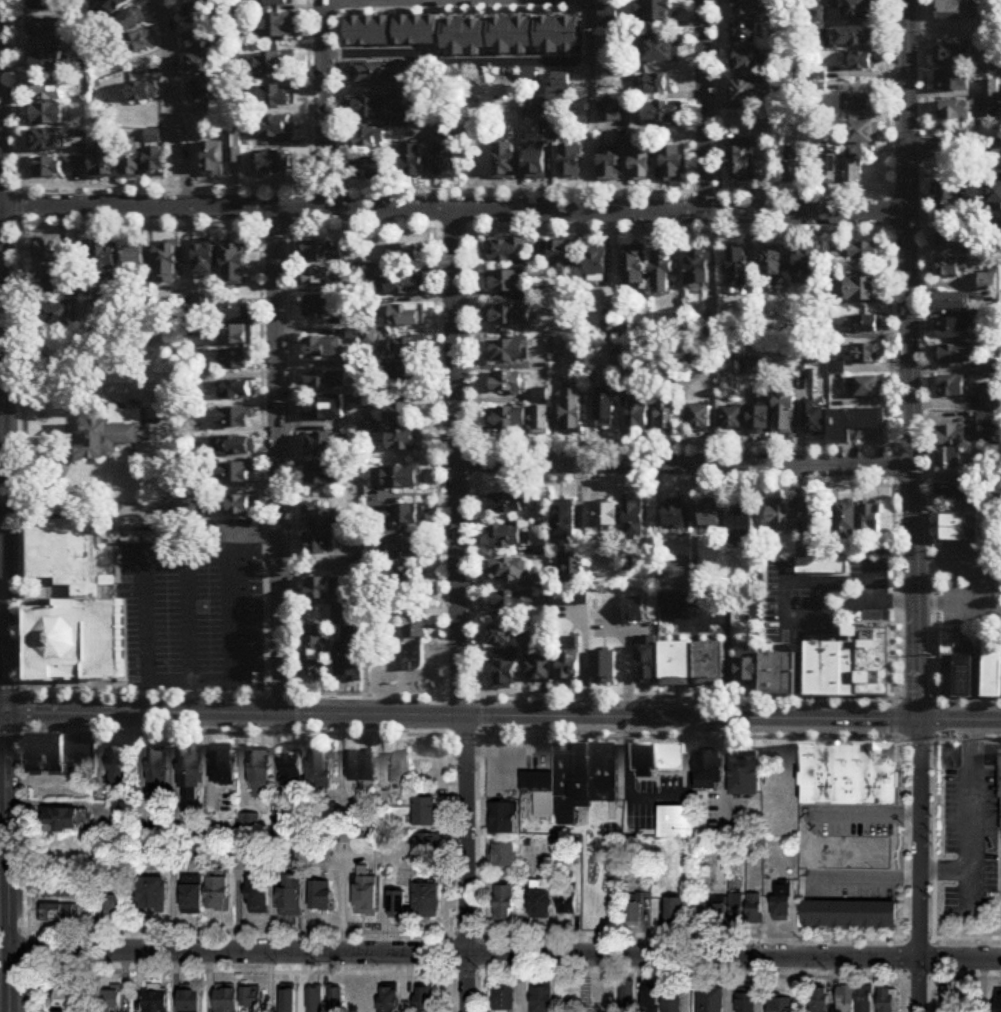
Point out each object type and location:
building: (276, 3)
building: (46, 5)
building: (116, 5)
building: (747, 7)
building: (859, 9)
building: (949, 9)
building: (657, 10)
building: (198, 14)
building: (236, 16)
building: (131, 21)
building: (280, 26)
building: (417, 30)
building: (368, 31)
building: (48, 33)
building: (744, 33)
building: (510, 36)
building: (557, 36)
building: (464, 37)
building: (855, 37)
building: (201, 40)
building: (139, 44)
building: (658, 50)
building: (611, 56)
building: (951, 56)
building: (47, 62)
building: (745, 62)
building: (862, 62)
road: (455, 64)
building: (200, 65)
building: (277, 67)
building: (377, 74)
building: (952, 82)
building: (656, 85)
building: (991, 90)
building: (47, 91)
building: (203, 92)
building: (142, 93)
building: (750, 93)
building: (272, 98)
road: (325, 104)
road: (175, 105)
building: (859, 105)
road: (589, 107)
road: (703, 107)
building: (369, 110)
building: (611, 112)
building: (953, 112)
building: (662, 113)
building: (47, 115)
building: (276, 128)
building: (833, 128)
building: (370, 139)
building: (47, 141)
building: (235, 147)
building: (858, 147)
road: (310, 149)
road: (955, 150)
building: (214, 160)
building: (102, 161)
building: (446, 161)
building: (132, 162)
building: (156, 162)
building: (413, 162)
building: (505, 162)
building: (535, 162)
building: (571, 162)
building: (610, 162)
building: (640, 163)
building: (274, 164)
building: (673, 165)
building: (740, 165)
building: (793, 166)
building: (47, 168)
building: (371, 170)
building: (826, 171)
road: (19, 172)
road: (189, 187)
building: (971, 195)
building: (944, 197)
building: (995, 198)
road: (454, 212)
road: (258, 227)
road: (275, 228)
road: (455, 230)
road: (435, 231)
road: (889, 233)
building: (950, 239)
building: (52, 249)
building: (507, 250)
building: (322, 252)
building: (863, 252)
building: (562, 254)
building: (404, 255)
building: (106, 258)
building: (136, 259)
building: (205, 261)
building: (538, 261)
building: (833, 262)
building: (168, 263)
building: (597, 263)
building: (773, 263)
building: (234, 264)
building: (635, 266)
building: (806, 267)
building: (739, 268)
building: (953, 268)
building: (699, 269)
building: (663, 275)
building: (320, 277)
building: (55, 282)
building: (989, 283)
building: (509, 284)
building: (401, 285)
building: (862, 290)
building: (952, 303)
building: (319, 309)
building: (237, 312)
building: (56, 315)
building: (510, 315)
building: (406, 316)
building: (867, 325)
building: (955, 330)
building: (802, 332)
building: (237, 336)
building: (558, 346)
building: (323, 348)
building: (409, 349)
building: (507, 351)
building: (862, 355)
building: (955, 356)
road: (912, 360)
building: (235, 361)
building: (752, 366)
building: (404, 373)
building: (325, 381)
building: (509, 383)
building: (952, 387)
building: (867, 388)
building: (235, 390)
road: (930, 395)
building: (989, 397)
building: (606, 408)
building: (324, 409)
building: (542, 412)
building: (572, 412)
building: (398, 413)
building: (640, 415)
building: (667, 416)
building: (785, 417)
building: (235, 418)
building: (701, 418)
building: (813, 419)
building: (508, 420)
building: (733, 420)
building: (760, 420)
building: (988, 420)
road: (71, 423)
building: (854, 424)
building: (372, 427)
building: (113, 434)
building: (951, 436)
building: (406, 440)
building: (324, 445)
building: (234, 447)
road: (281, 462)
road: (479, 462)
building: (950, 463)
road: (459, 465)
road: (687, 465)
road: (895, 465)
road: (180, 469)
building: (989, 470)
building: (235, 474)
building: (397, 478)
building: (323, 479)
road: (893, 487)
building: (954, 492)
building: (511, 506)
building: (240, 507)
building: (324, 516)
building: (398, 516)
building: (608, 516)
building: (711, 516)
building: (675, 518)
building: (813, 518)
building: (778, 519)
building: (870, 519)
building: (635, 521)
building: (846, 522)
building: (565, 523)
building: (743, 523)
building: (962, 528)
building: (508, 538)
building: (322, 544)
building: (406, 548)
building: (545, 556)
building: (575, 571)
building: (512, 572)
building: (821, 576)
road: (990, 577)
building: (406, 579)
building: (111, 581)
building: (543, 583)
parking lot: (970, 586)
building: (325, 590)
road: (146, 591)
building: (514, 601)
road: (849, 607)
building: (71, 609)
road: (5, 611)
building: (339, 615)
building: (634, 617)
building: (416, 628)
road: (239, 629)
building: (526, 635)
building: (501, 636)
building: (317, 653)
building: (413, 658)
building: (352, 659)
building: (571, 661)
building: (647, 661)
building: (875, 662)
building: (710, 663)
building: (676, 666)
building: (604, 669)
building: (832, 669)
building: (539, 670)
building: (748, 670)
building: (507, 671)
building: (992, 671)
road: (626, 674)
building: (778, 675)
building: (963, 677)
road: (476, 695)
road: (932, 698)
road: (297, 699)
road: (29, 712)
road: (500, 717)
traffic signals: (922, 721)
road: (516, 749)
building: (56, 752)
building: (658, 759)
building: (223, 767)
building: (190, 768)
building: (293, 768)
building: (363, 769)
building: (118, 770)
building: (157, 770)
building: (320, 770)
building: (402, 770)
building: (708, 772)
building: (854, 774)
building: (260, 775)
building: (744, 777)
building: (574, 781)
road: (660, 792)
building: (1000, 801)
road: (973, 808)
building: (427, 813)
building: (502, 818)
building: (64, 820)
building: (675, 822)
parking lot: (972, 830)
road: (935, 838)
road: (921, 839)
building: (426, 845)
building: (503, 855)
road: (469, 864)
road: (865, 874)
road: (4, 883)
building: (59, 889)
building: (150, 894)
building: (191, 894)
building: (217, 894)
building: (258, 894)
building: (290, 894)
building: (365, 894)
building: (320, 895)
building: (566, 899)
building: (426, 900)
building: (503, 902)
building: (782, 902)
building: (396, 903)
building: (112, 907)
building: (735, 908)
building: (754, 908)
building: (674, 910)
building: (717, 910)
building: (59, 913)
building: (632, 914)
building: (850, 914)
road: (450, 932)
road: (905, 933)
road: (28, 951)
road: (505, 954)
road: (236, 972)
road: (693, 974)
road: (451, 975)
road: (932, 975)
road: (949, 975)
road: (919, 984)
building: (628, 995)
building: (503, 997)
building: (651, 997)
building: (155, 998)
building: (952, 998)
building: (253, 999)
building: (336, 999)
building: (389, 999)
building: (424, 999)
building: (542, 999)
building: (710, 999)
building: (846, 999)
building: (864, 999)
building: (64, 1000)
building: (109, 1000)
building: (226, 1000)
building: (314, 1000)
building: (819, 1000)
building: (887, 1000)
building: (189, 1001)
building: (746, 1002)
building: (999, 1002)
building: (781, 1005)

